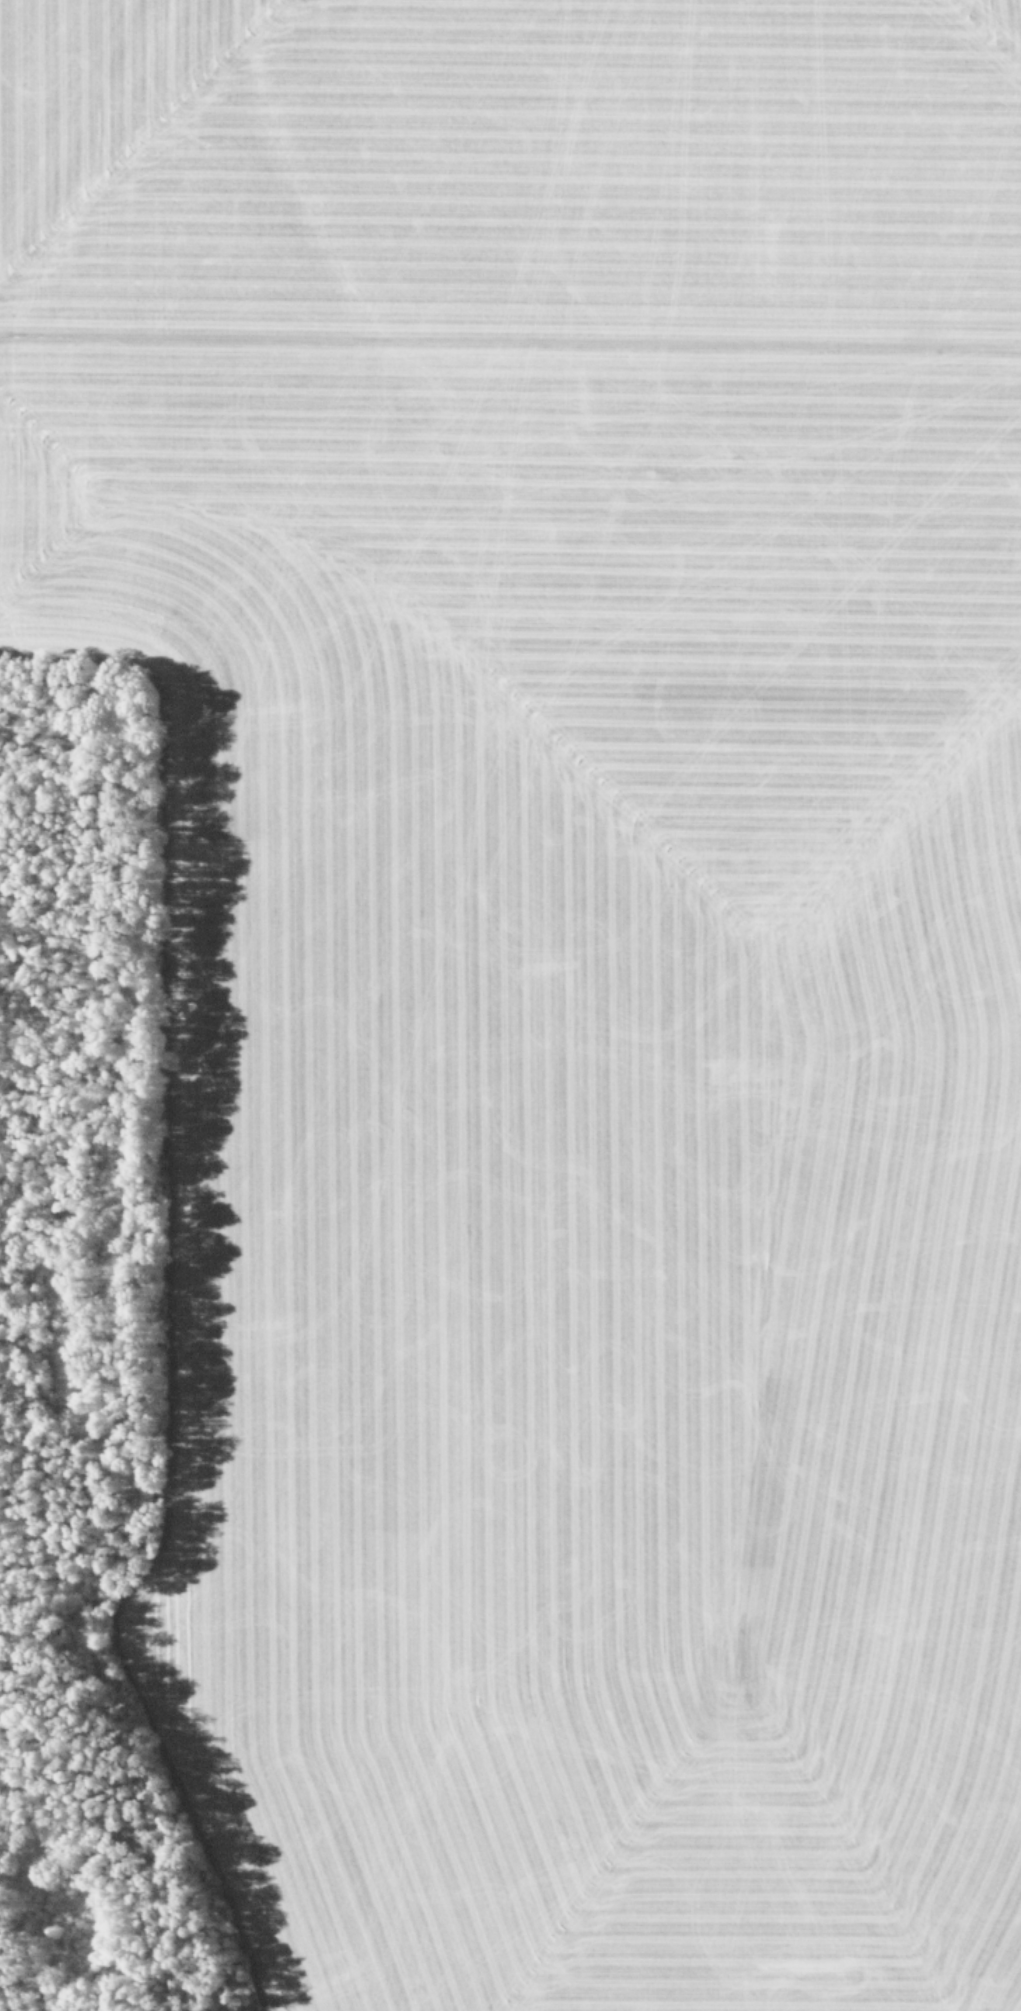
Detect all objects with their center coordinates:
crop: (556, 966)

